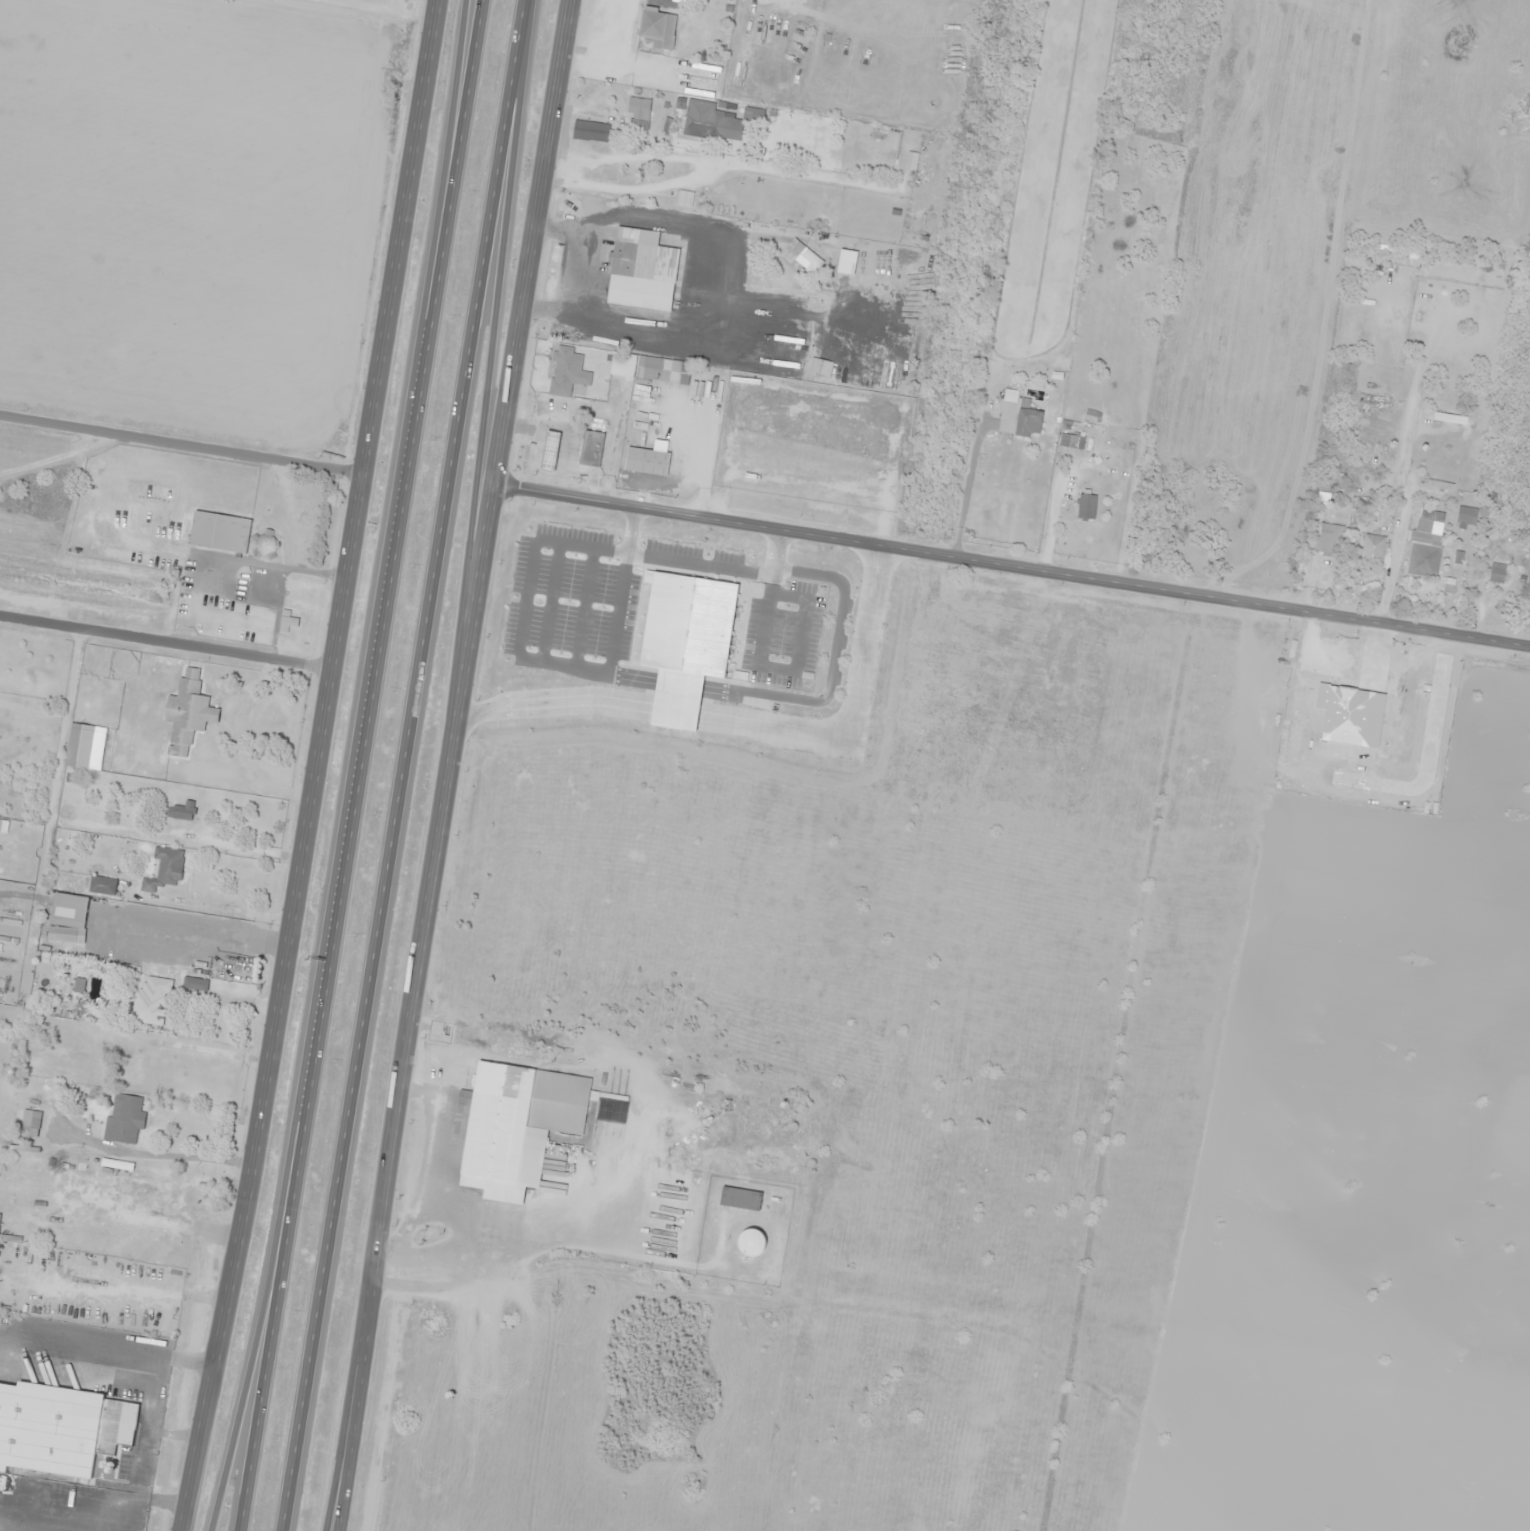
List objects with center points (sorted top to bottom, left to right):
building: (658, 28)
building: (639, 112)
building: (716, 120)
building: (592, 133)
building: (876, 148)
building: (911, 160)
road: (449, 179)
building: (635, 282)
road: (908, 358)
building: (650, 368)
building: (820, 368)
building: (1346, 370)
building: (568, 371)
road: (507, 408)
road: (488, 409)
building: (1449, 419)
building: (1028, 422)
building: (1071, 441)
road: (182, 443)
building: (592, 448)
building: (550, 450)
building: (647, 461)
building: (1440, 485)
building: (1086, 506)
building: (1466, 517)
building: (219, 532)
building: (1329, 538)
building: (1425, 542)
building: (1371, 551)
road: (1012, 568)
building: (1497, 573)
road: (387, 589)
building: (287, 623)
road: (167, 639)
building: (187, 713)
road: (407, 765)
road: (318, 767)
building: (180, 812)
building: (165, 869)
building: (102, 885)
building: (65, 915)
building: (66, 935)
building: (150, 1000)
building: (68, 1040)
building: (139, 1065)
building: (124, 1119)
building: (26, 1122)
building: (509, 1122)
road: (391, 1174)
building: (740, 1199)
building: (751, 1243)
road: (250, 1355)
road: (266, 1355)
road: (354, 1400)
building: (60, 1432)

